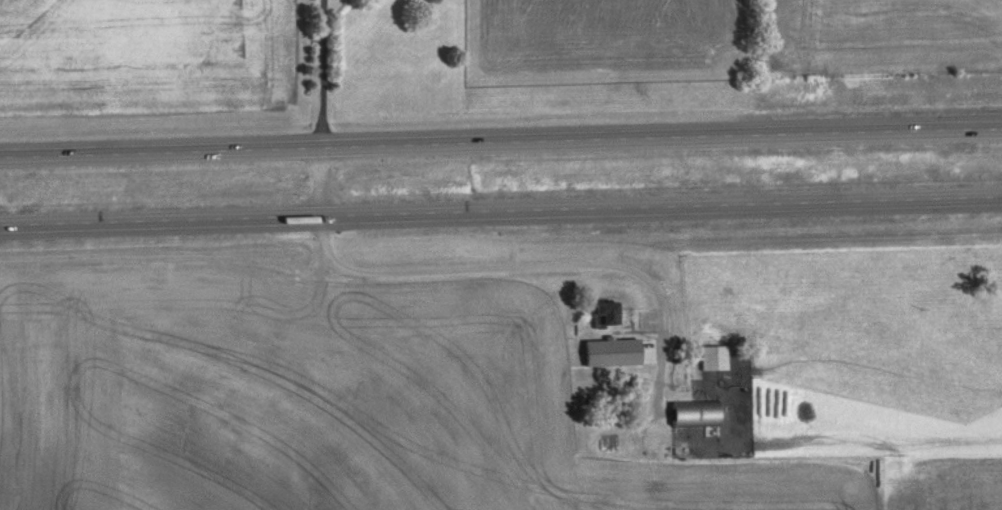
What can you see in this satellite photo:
road: (323, 111)
road: (500, 140)
road: (501, 216)
road: (506, 272)
building: (602, 313)
building: (691, 413)

